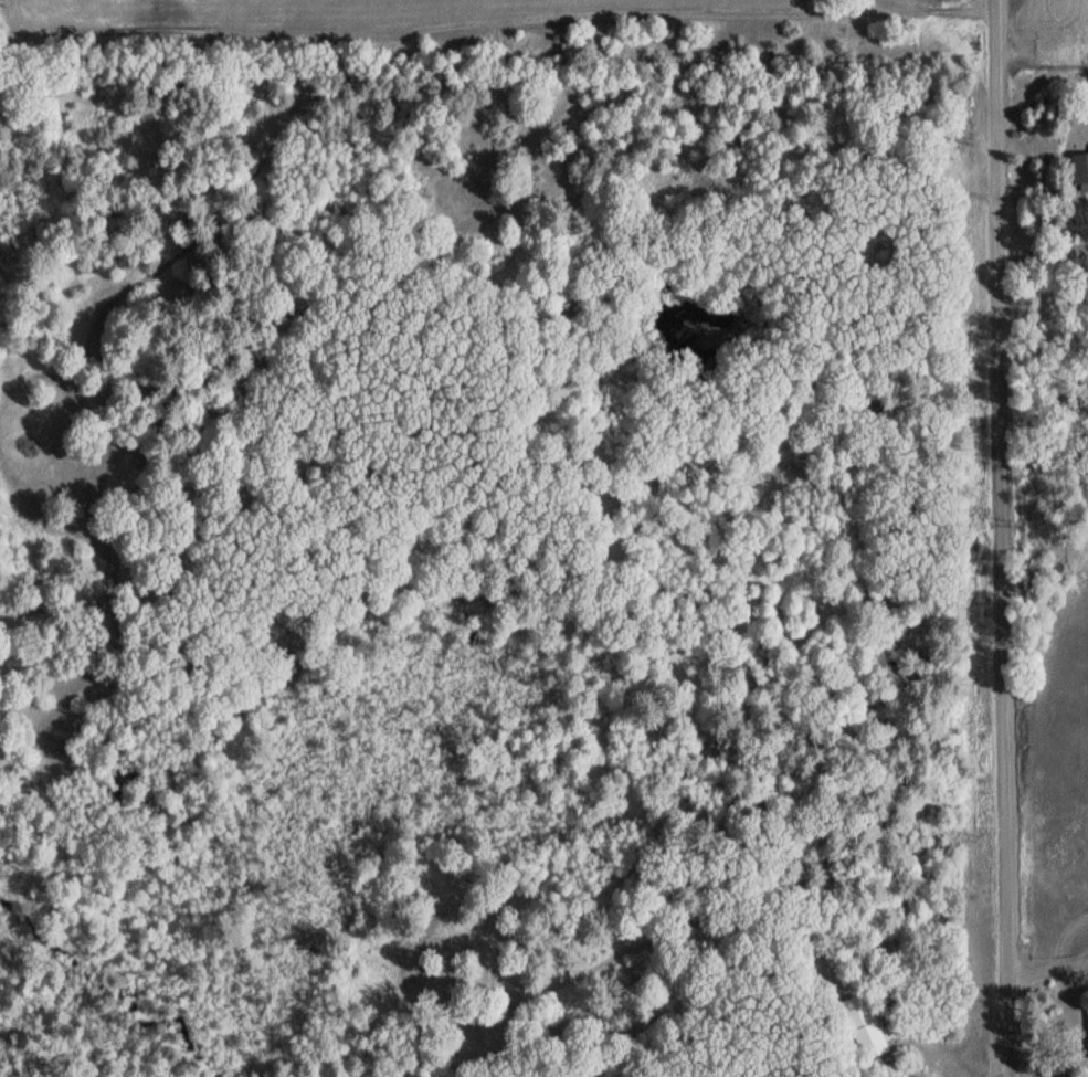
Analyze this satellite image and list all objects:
building: (1079, 170)
road: (1046, 249)
road: (1008, 538)

